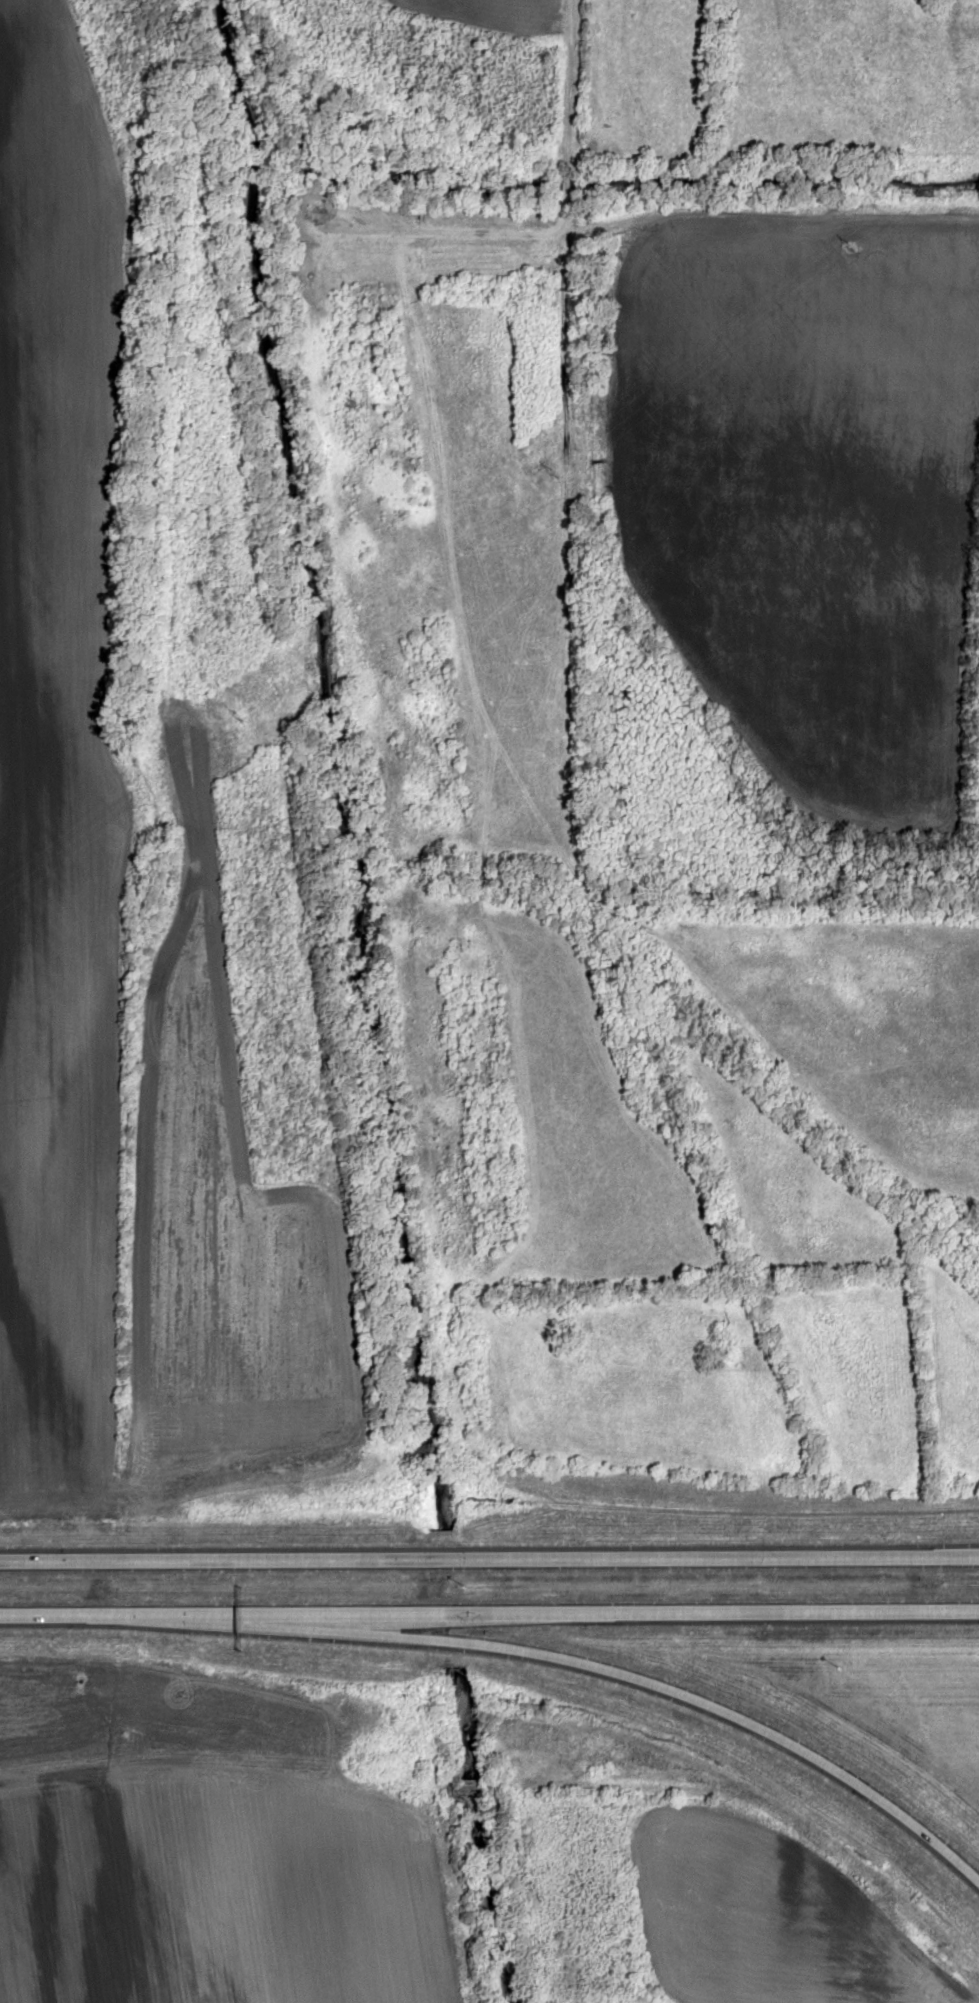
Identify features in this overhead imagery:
road: (606, 133)
road: (221, 302)
road: (489, 1559)
road: (489, 1611)
road: (612, 1674)
road: (222, 1754)
road: (458, 1887)

